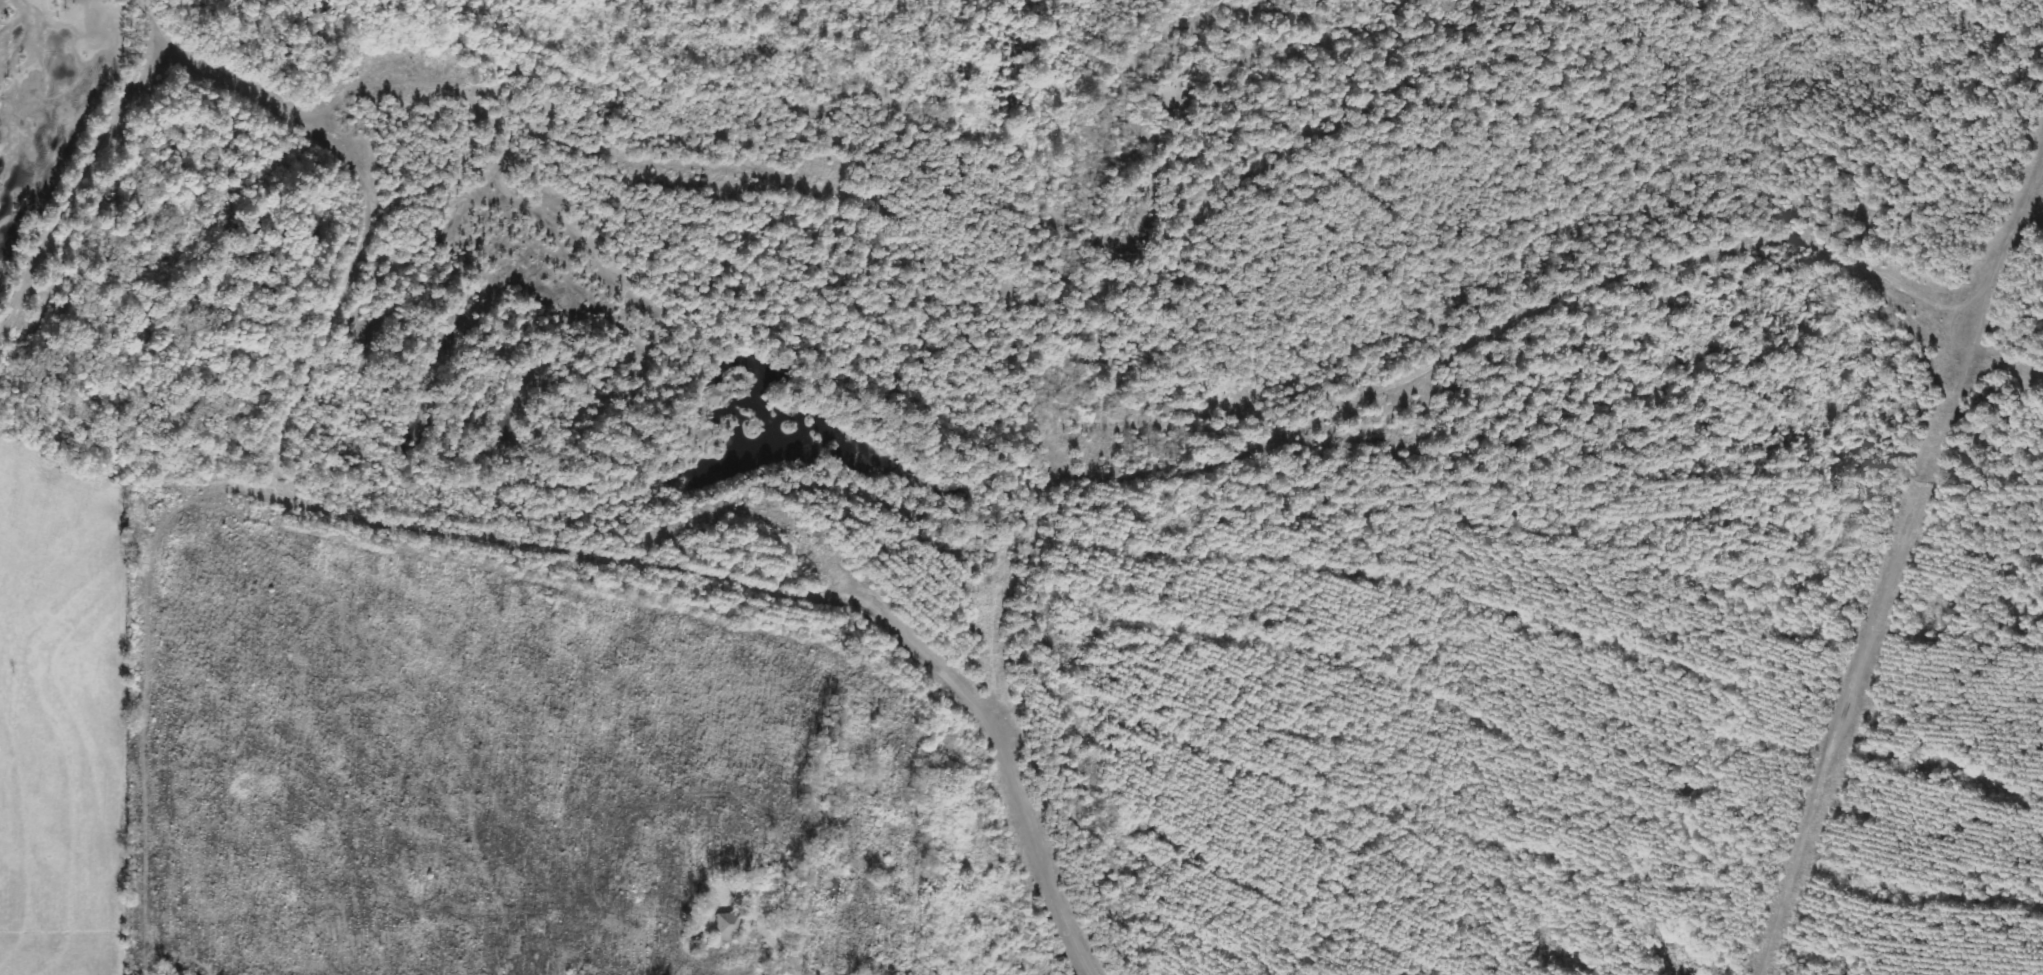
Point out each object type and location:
building: (727, 927)

